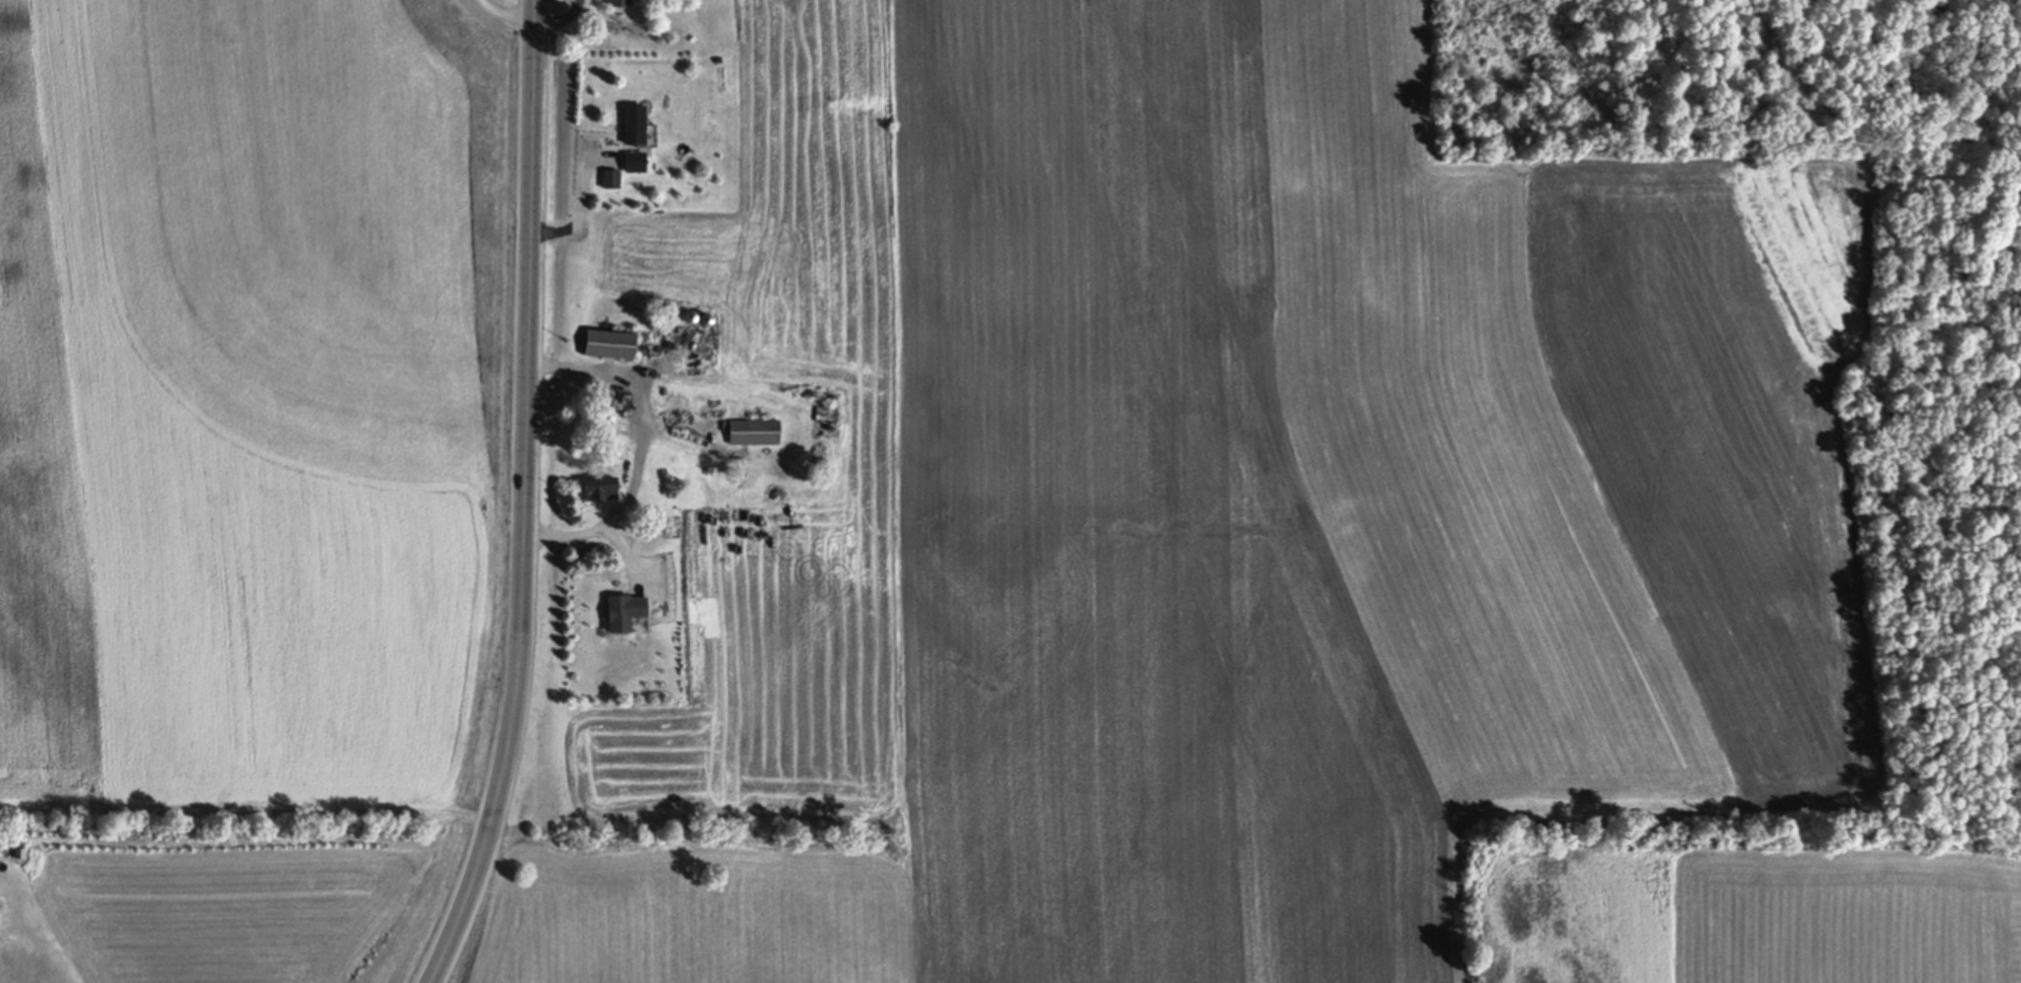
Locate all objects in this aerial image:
building: (624, 4)
road: (512, 8)
building: (639, 127)
building: (638, 163)
road: (580, 207)
building: (694, 318)
building: (614, 345)
building: (757, 432)
road: (640, 449)
building: (605, 490)
road: (526, 498)
building: (630, 613)

